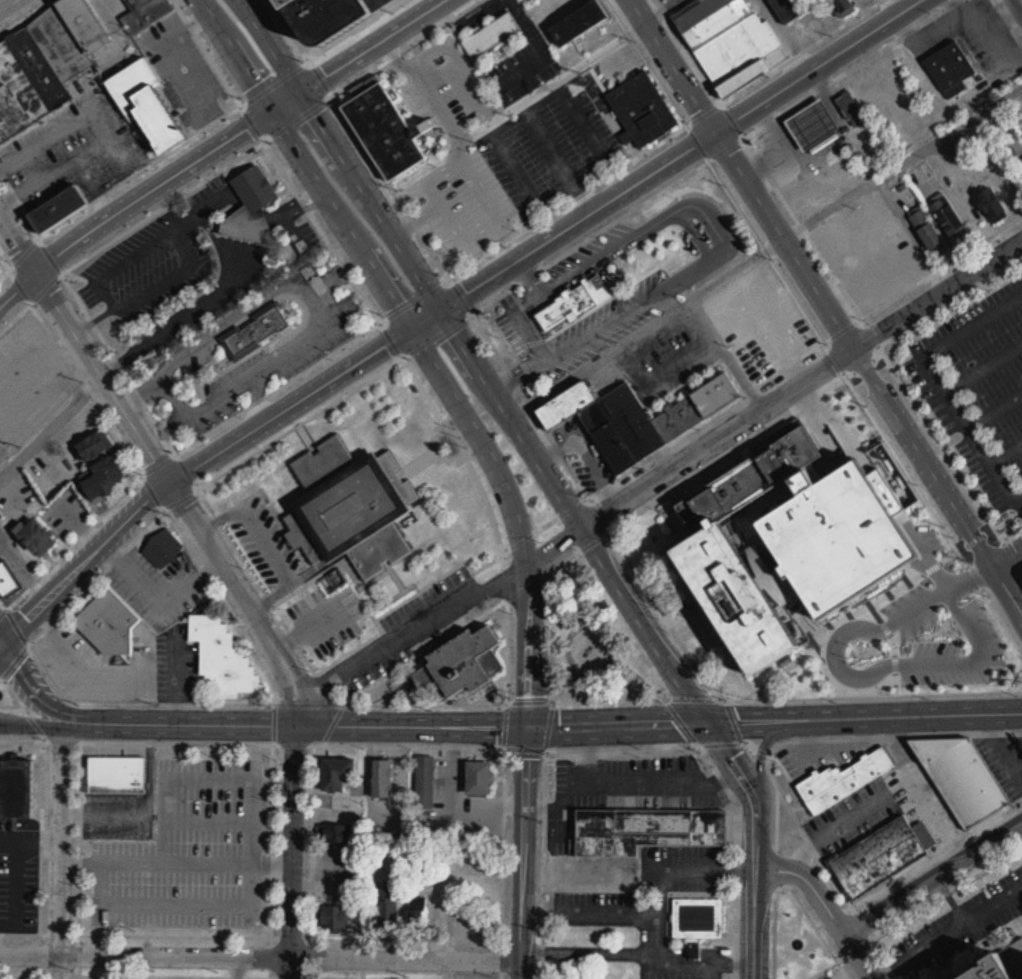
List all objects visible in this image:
road: (1021, 0)
road: (8, 5)
building: (841, 7)
building: (791, 8)
building: (145, 10)
building: (324, 16)
building: (86, 22)
building: (576, 22)
building: (490, 35)
building: (58, 42)
building: (729, 42)
road: (584, 60)
road: (818, 65)
building: (952, 71)
building: (25, 83)
traffic signals: (303, 94)
building: (150, 101)
building: (850, 107)
building: (640, 109)
traffic signals: (273, 113)
road: (446, 120)
building: (808, 123)
building: (383, 129)
traffic signals: (716, 131)
road: (103, 133)
road: (696, 140)
road: (550, 141)
road: (221, 144)
road: (461, 149)
road: (341, 154)
road: (305, 163)
road: (903, 164)
building: (253, 186)
road: (484, 189)
road: (584, 197)
road: (699, 200)
building: (990, 205)
building: (58, 207)
building: (946, 218)
road: (415, 219)
road: (578, 220)
building: (925, 230)
road: (914, 234)
building: (851, 235)
parking lot: (155, 264)
road: (340, 268)
road: (530, 274)
road: (874, 276)
road: (450, 280)
road: (813, 284)
road: (459, 295)
road: (938, 295)
road: (414, 299)
road: (668, 300)
building: (572, 303)
traffic signals: (440, 308)
road: (469, 310)
road: (332, 312)
road: (426, 317)
traffic signals: (412, 326)
road: (648, 326)
building: (254, 332)
road: (435, 334)
road: (728, 354)
road: (677, 358)
road: (983, 366)
road: (518, 374)
road: (938, 380)
road: (142, 392)
parking lot: (978, 396)
road: (255, 397)
road: (994, 408)
building: (635, 417)
road: (51, 427)
road: (481, 440)
building: (91, 446)
road: (180, 449)
road: (1006, 453)
road: (193, 466)
building: (100, 479)
road: (205, 483)
building: (348, 508)
road: (575, 514)
building: (814, 515)
road: (571, 532)
parking lot: (262, 536)
building: (33, 539)
road: (267, 542)
building: (161, 549)
road: (1009, 561)
road: (227, 572)
building: (1021, 574)
road: (971, 579)
building: (6, 584)
road: (1009, 591)
road: (648, 592)
building: (734, 595)
building: (107, 624)
road: (307, 628)
road: (1, 639)
traffic signals: (3, 642)
road: (1, 643)
road: (530, 647)
building: (219, 658)
road: (15, 661)
building: (460, 664)
road: (871, 668)
road: (93, 674)
road: (874, 695)
road: (49, 705)
road: (866, 714)
traffic signals: (711, 721)
traffic signals: (298, 725)
road: (326, 725)
road: (619, 726)
road: (62, 727)
traffic signals: (528, 730)
road: (41, 739)
road: (434, 744)
road: (760, 753)
building: (115, 772)
building: (341, 772)
building: (386, 777)
building: (483, 777)
building: (960, 777)
road: (179, 778)
building: (843, 779)
building: (426, 781)
road: (636, 781)
building: (19, 787)
road: (456, 797)
road: (560, 805)
road: (102, 812)
parking lot: (117, 815)
building: (341, 819)
road: (835, 826)
building: (642, 829)
road: (756, 844)
parking lot: (188, 850)
road: (61, 852)
road: (525, 854)
building: (880, 855)
road: (709, 866)
road: (931, 873)
road: (929, 901)
road: (177, 903)
road: (994, 903)
building: (386, 904)
road: (824, 907)
road: (659, 913)
road: (591, 915)
building: (335, 916)
building: (418, 917)
building: (695, 920)
road: (945, 934)
road: (270, 935)
road: (483, 938)
road: (591, 950)
road: (79, 956)
road: (261, 956)
road: (707, 962)
road: (236, 967)
building: (980, 968)
road: (194, 975)

